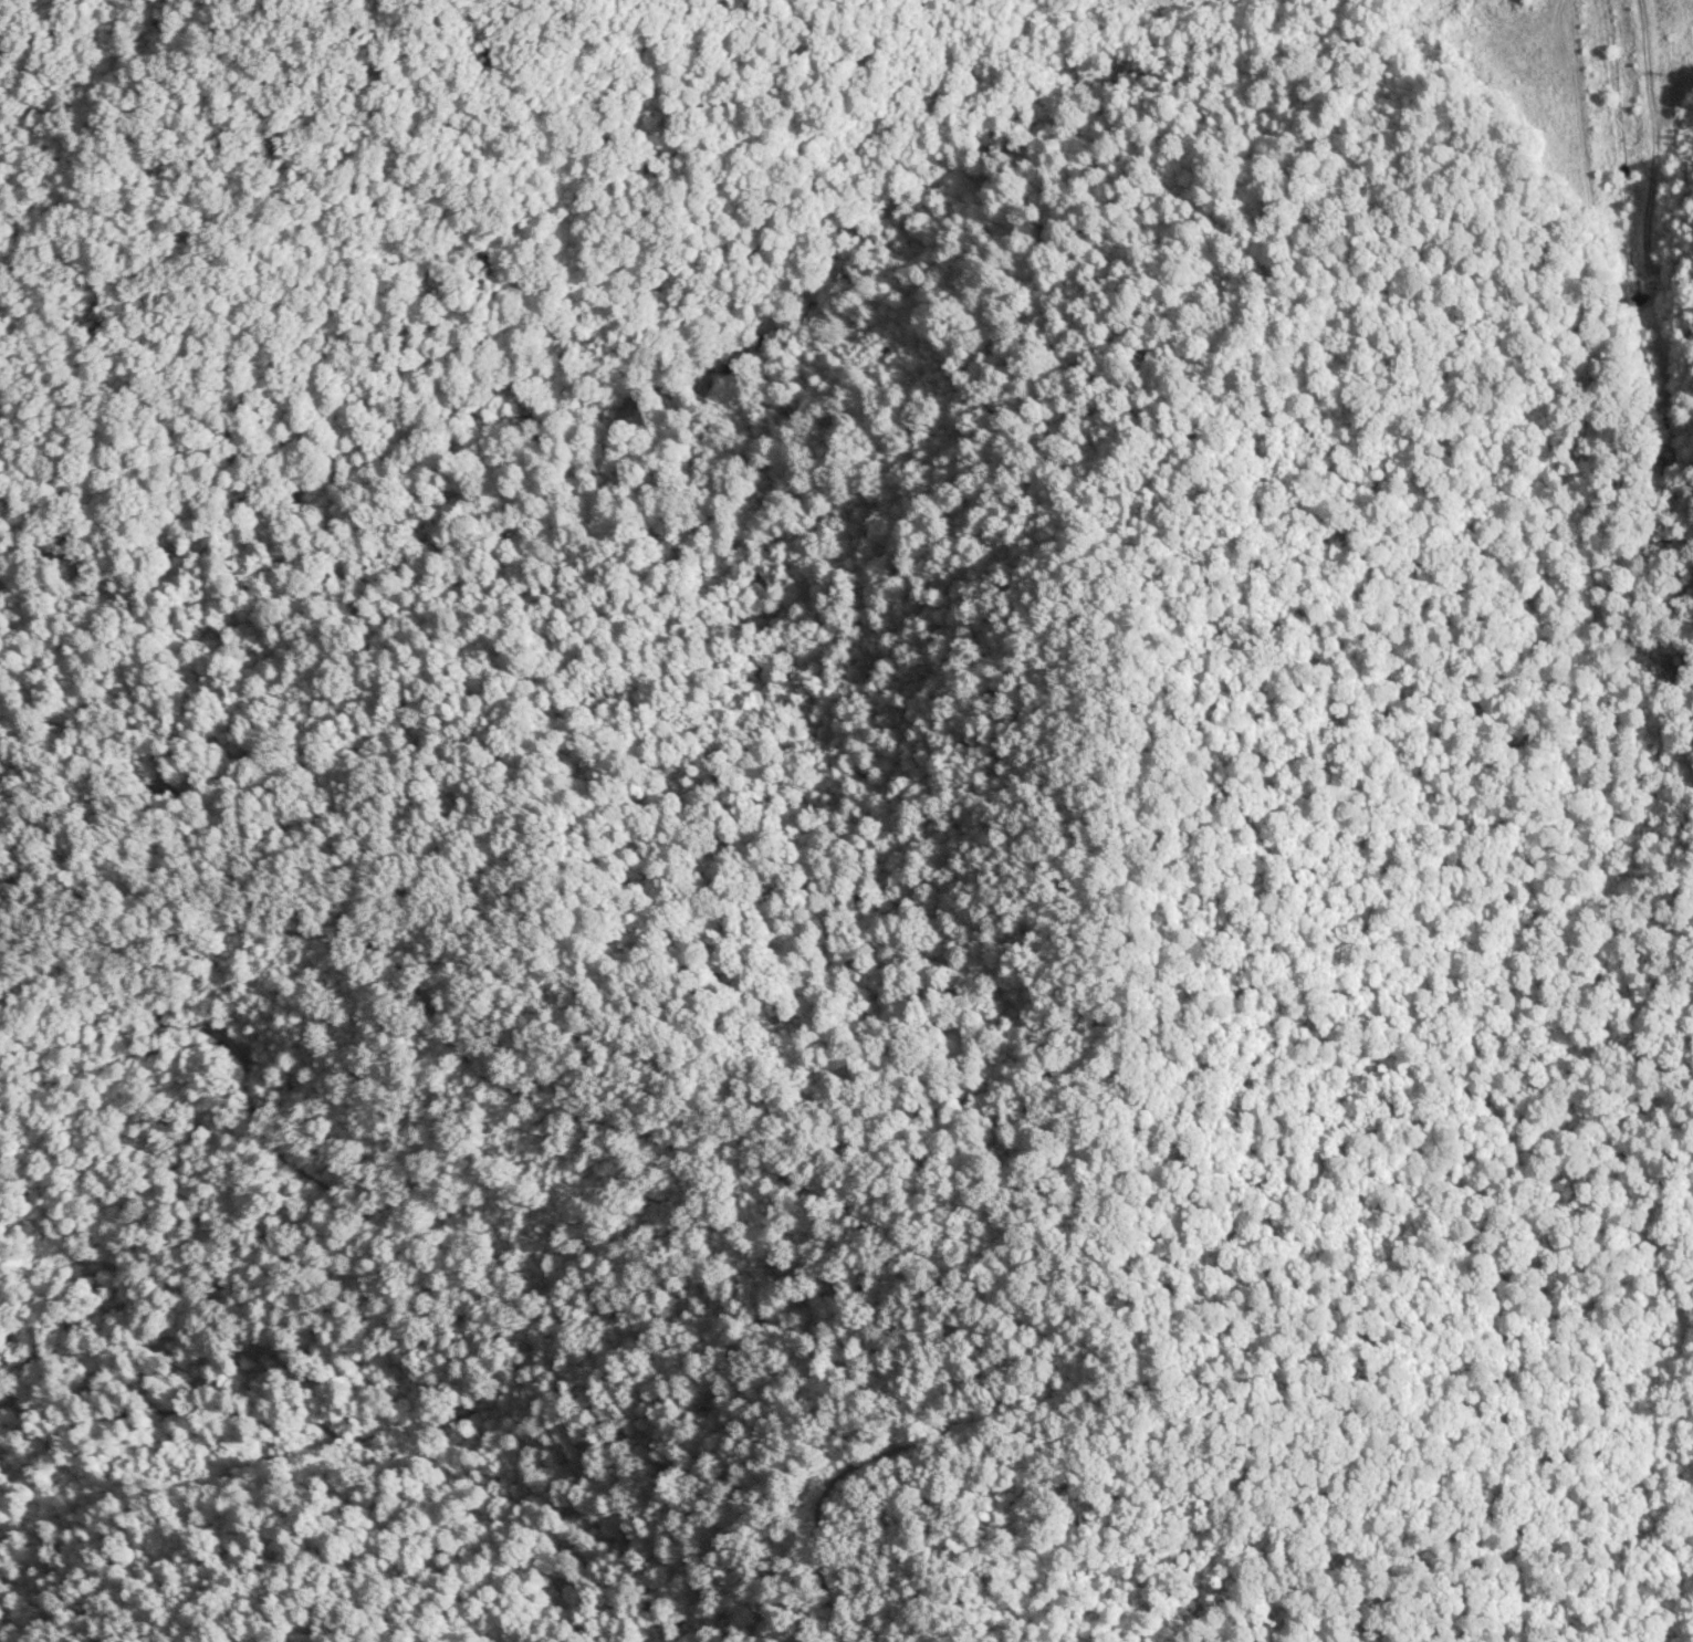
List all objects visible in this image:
quarry: (1580, 72)
road: (708, 1168)

